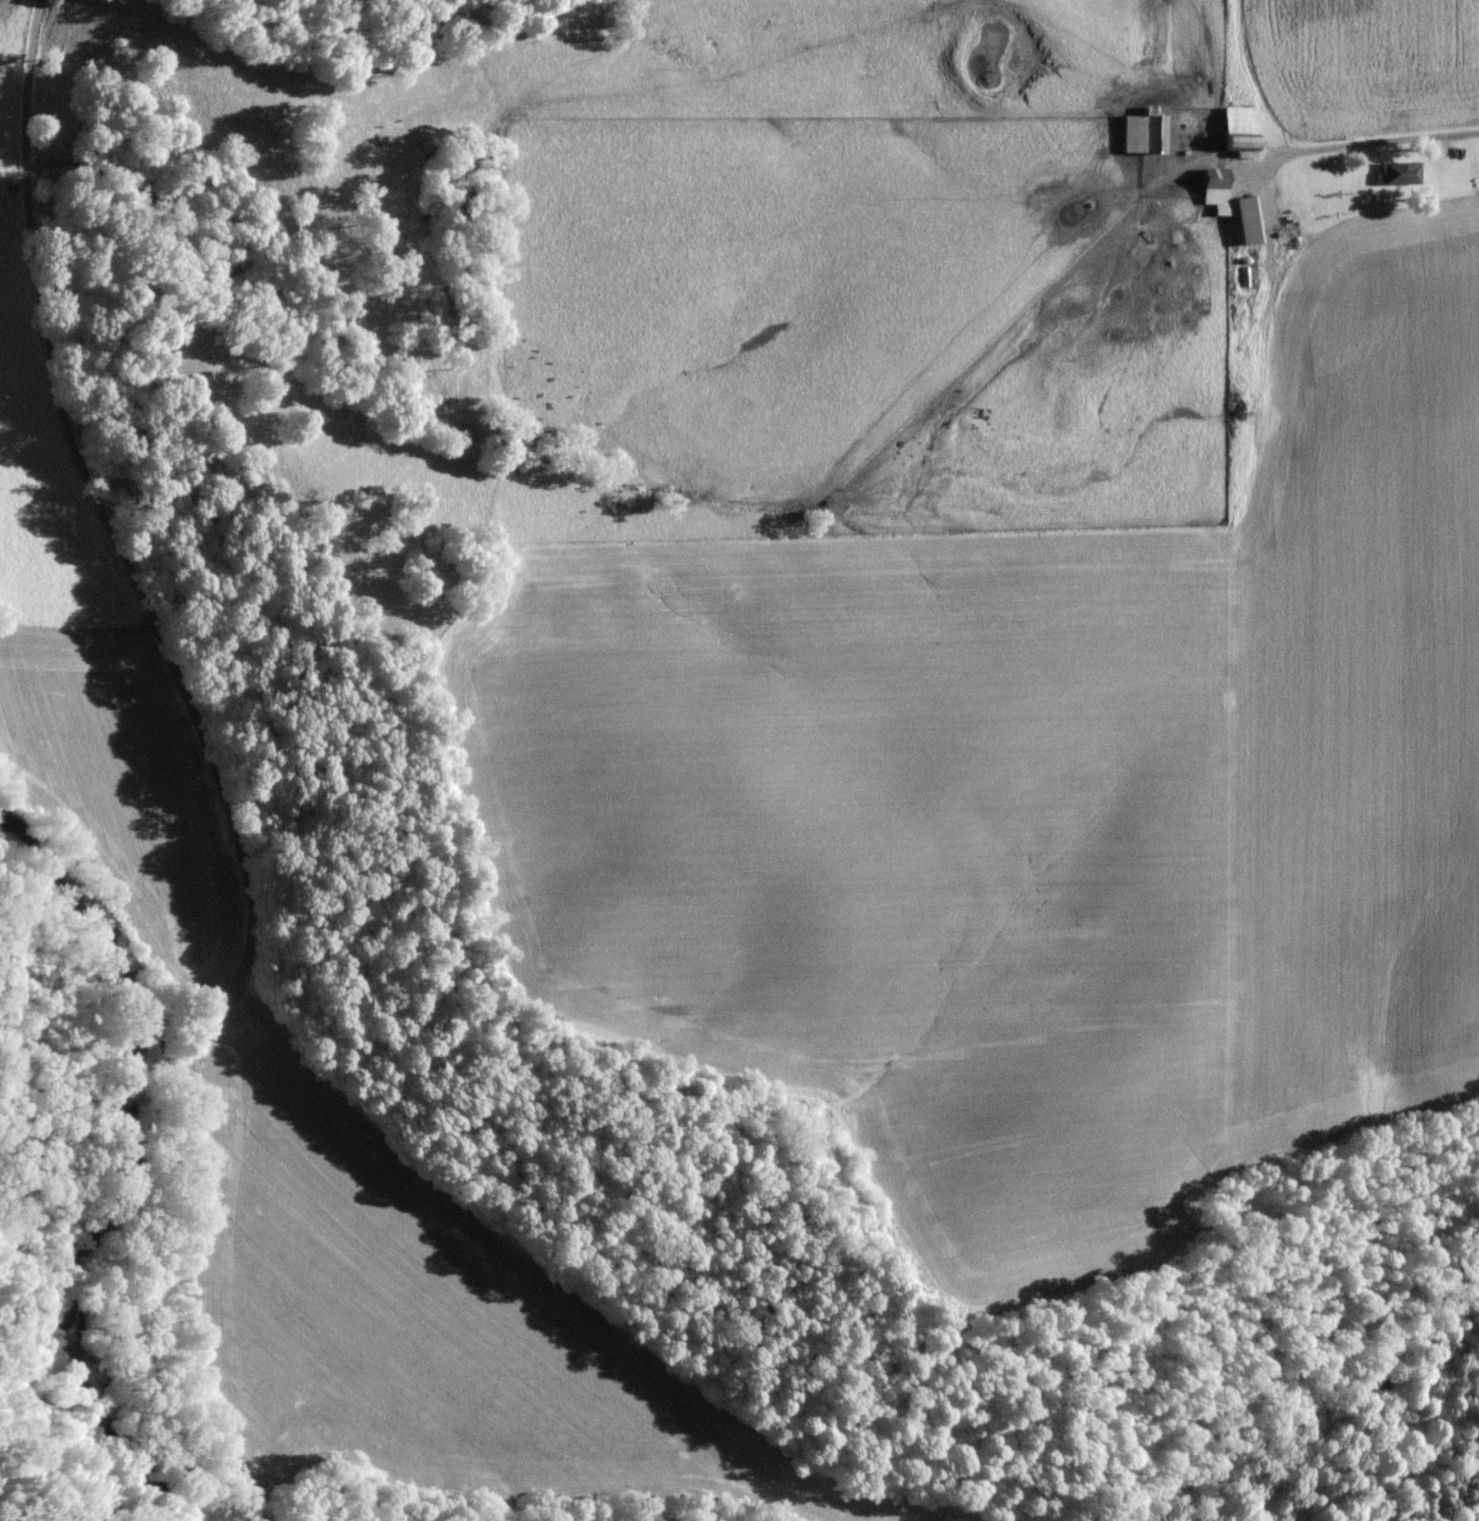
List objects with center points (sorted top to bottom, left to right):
building: (1242, 128)
building: (1145, 131)
building: (1401, 173)
building: (1216, 189)
building: (1247, 220)
road: (88, 636)
road: (237, 751)
road: (252, 1517)

